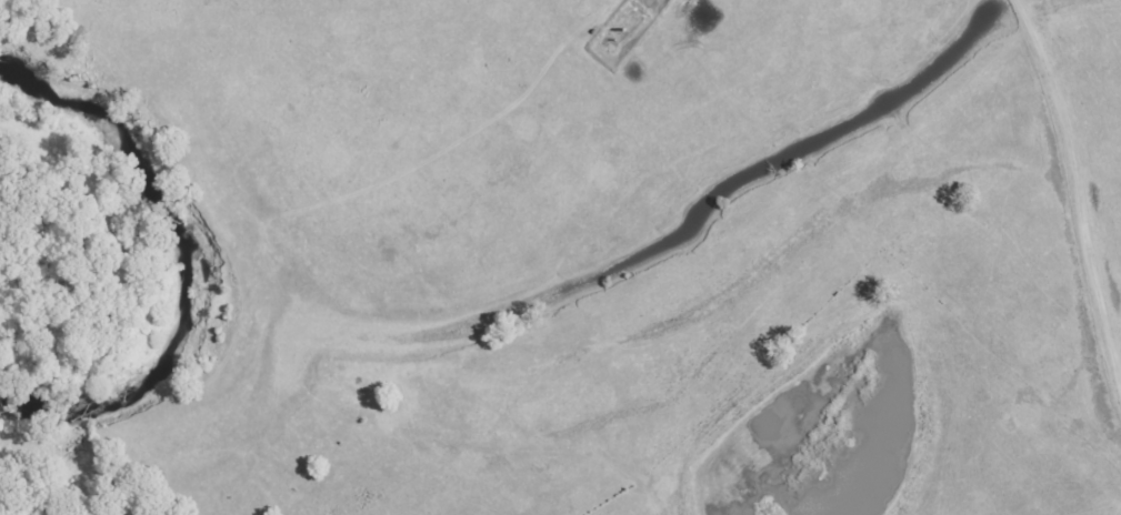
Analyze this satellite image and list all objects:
road: (1074, 193)

